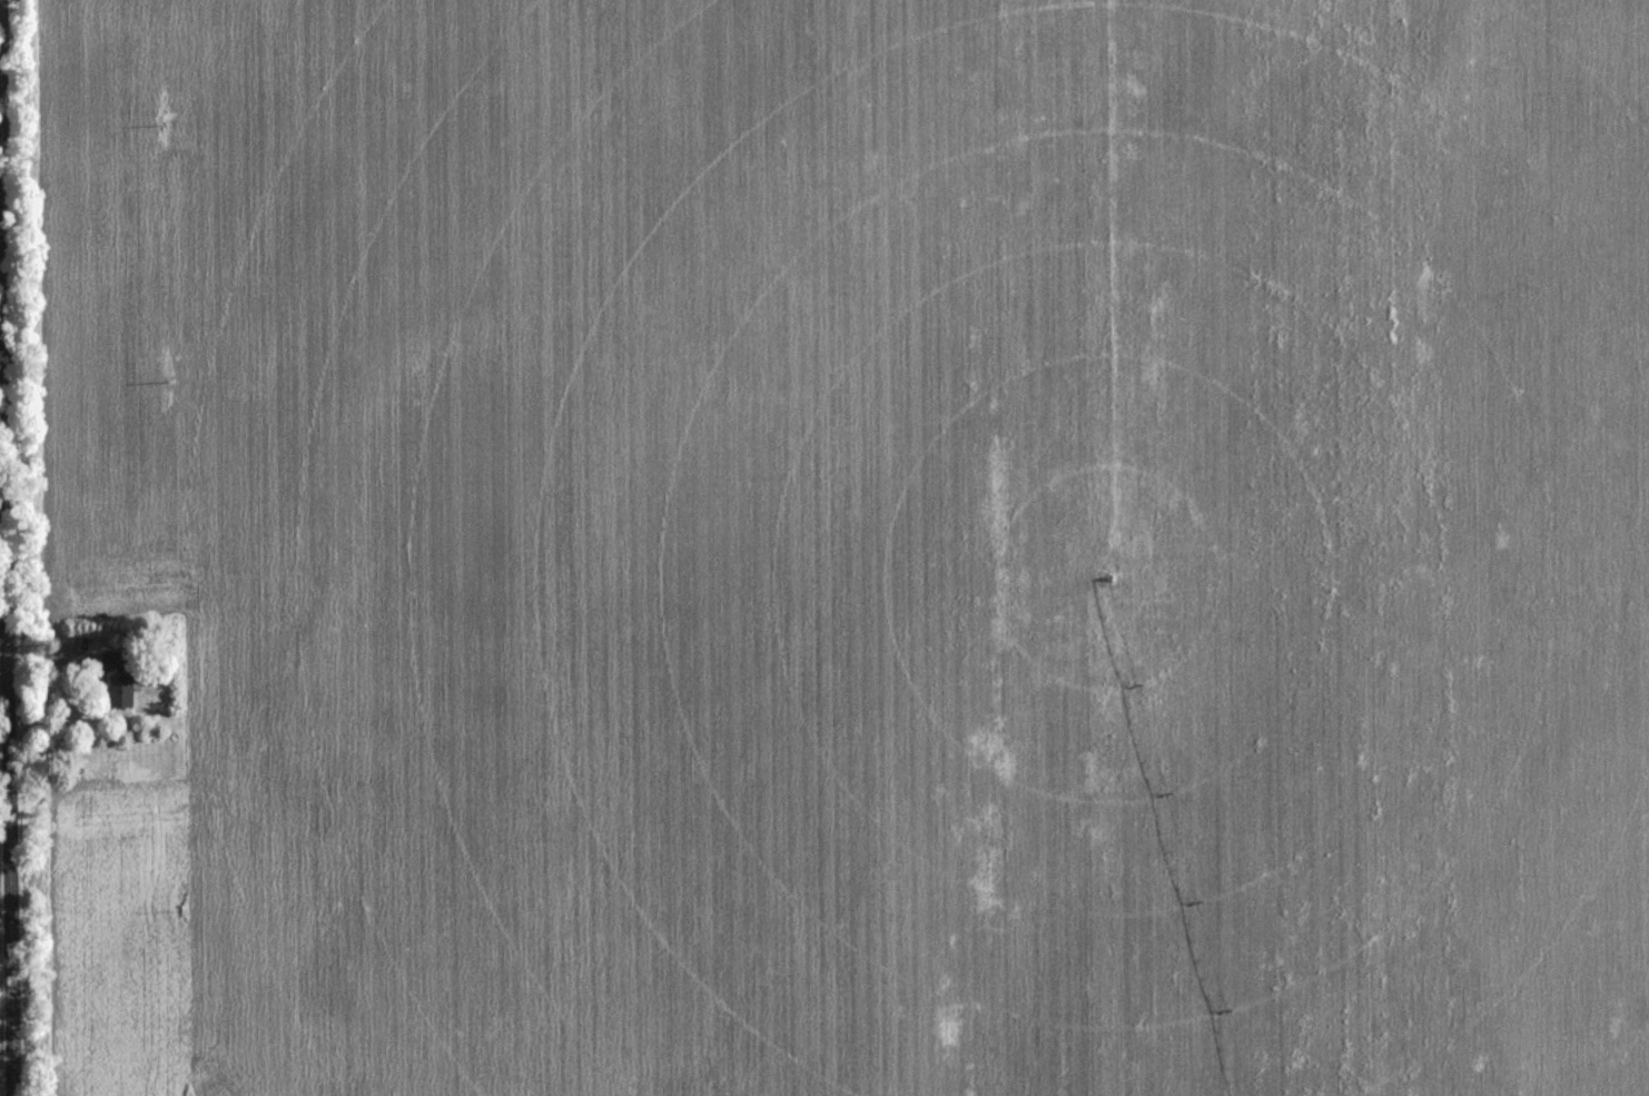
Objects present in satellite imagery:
road: (6, 652)
building: (119, 694)

